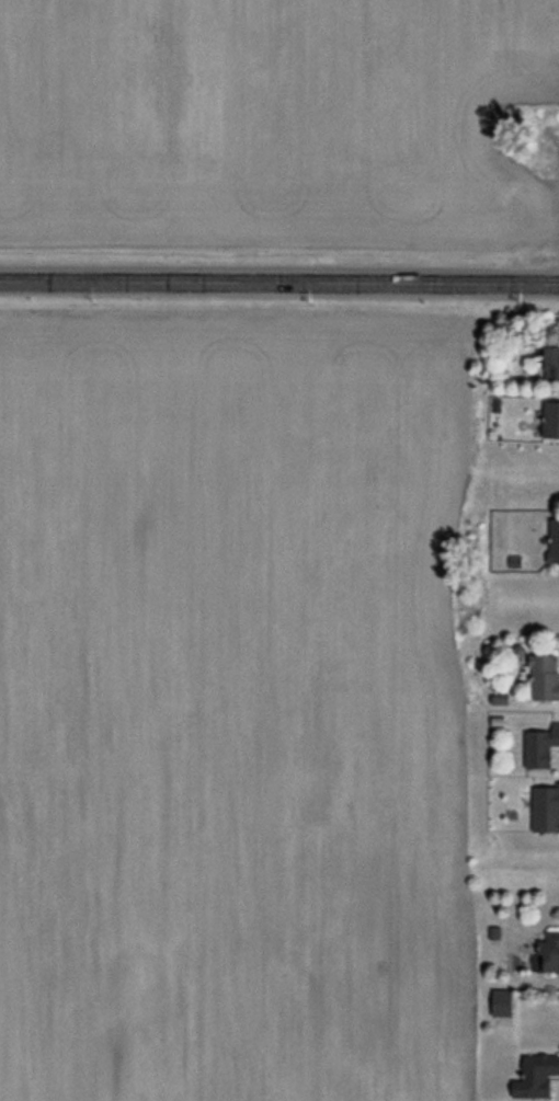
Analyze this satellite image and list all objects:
crop: (269, 123)
road: (43, 283)
road: (322, 284)
building: (552, 362)
building: (551, 420)
building: (554, 541)
building: (545, 677)
crop: (232, 706)
building: (540, 746)
building: (494, 932)
building: (550, 951)
building: (502, 1002)
building: (536, 1075)

